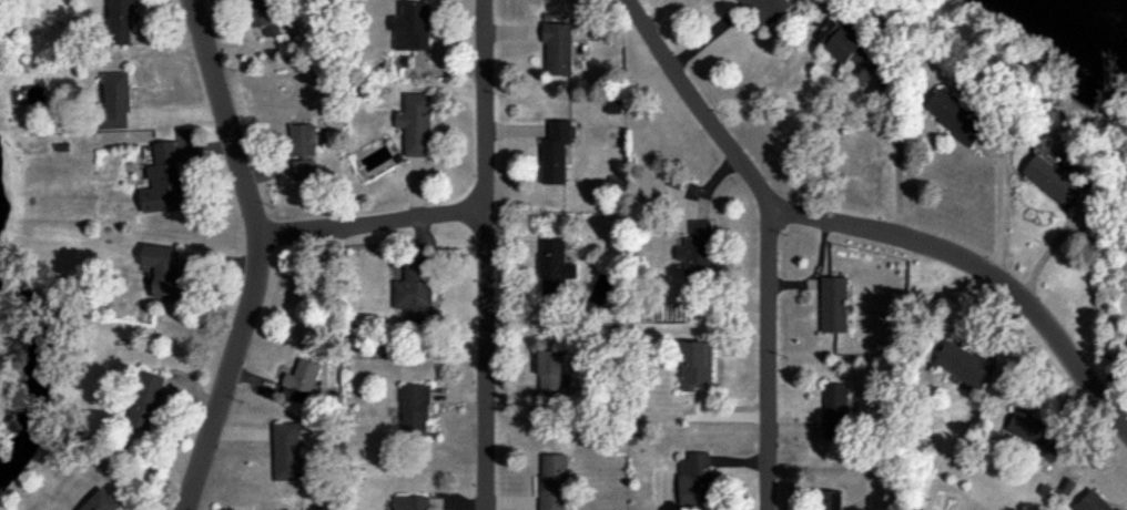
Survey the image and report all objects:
building: (768, 9)
building: (263, 16)
building: (121, 22)
building: (413, 27)
building: (558, 48)
building: (849, 50)
building: (114, 103)
building: (613, 105)
building: (956, 116)
building: (416, 123)
building: (303, 139)
building: (556, 151)
road: (897, 159)
building: (303, 169)
building: (1054, 180)
building: (162, 181)
road: (999, 211)
road: (367, 227)
road: (855, 229)
building: (697, 251)
road: (254, 255)
road: (480, 255)
building: (555, 266)
building: (166, 272)
building: (414, 293)
building: (833, 304)
road: (764, 355)
building: (696, 364)
building: (965, 364)
building: (551, 373)
building: (301, 380)
building: (145, 399)
building: (415, 409)
building: (836, 410)
building: (1038, 432)
building: (287, 450)
building: (696, 480)
building: (552, 481)
building: (830, 500)
building: (101, 501)
building: (413, 502)
building: (1093, 502)
building: (1120, 509)

